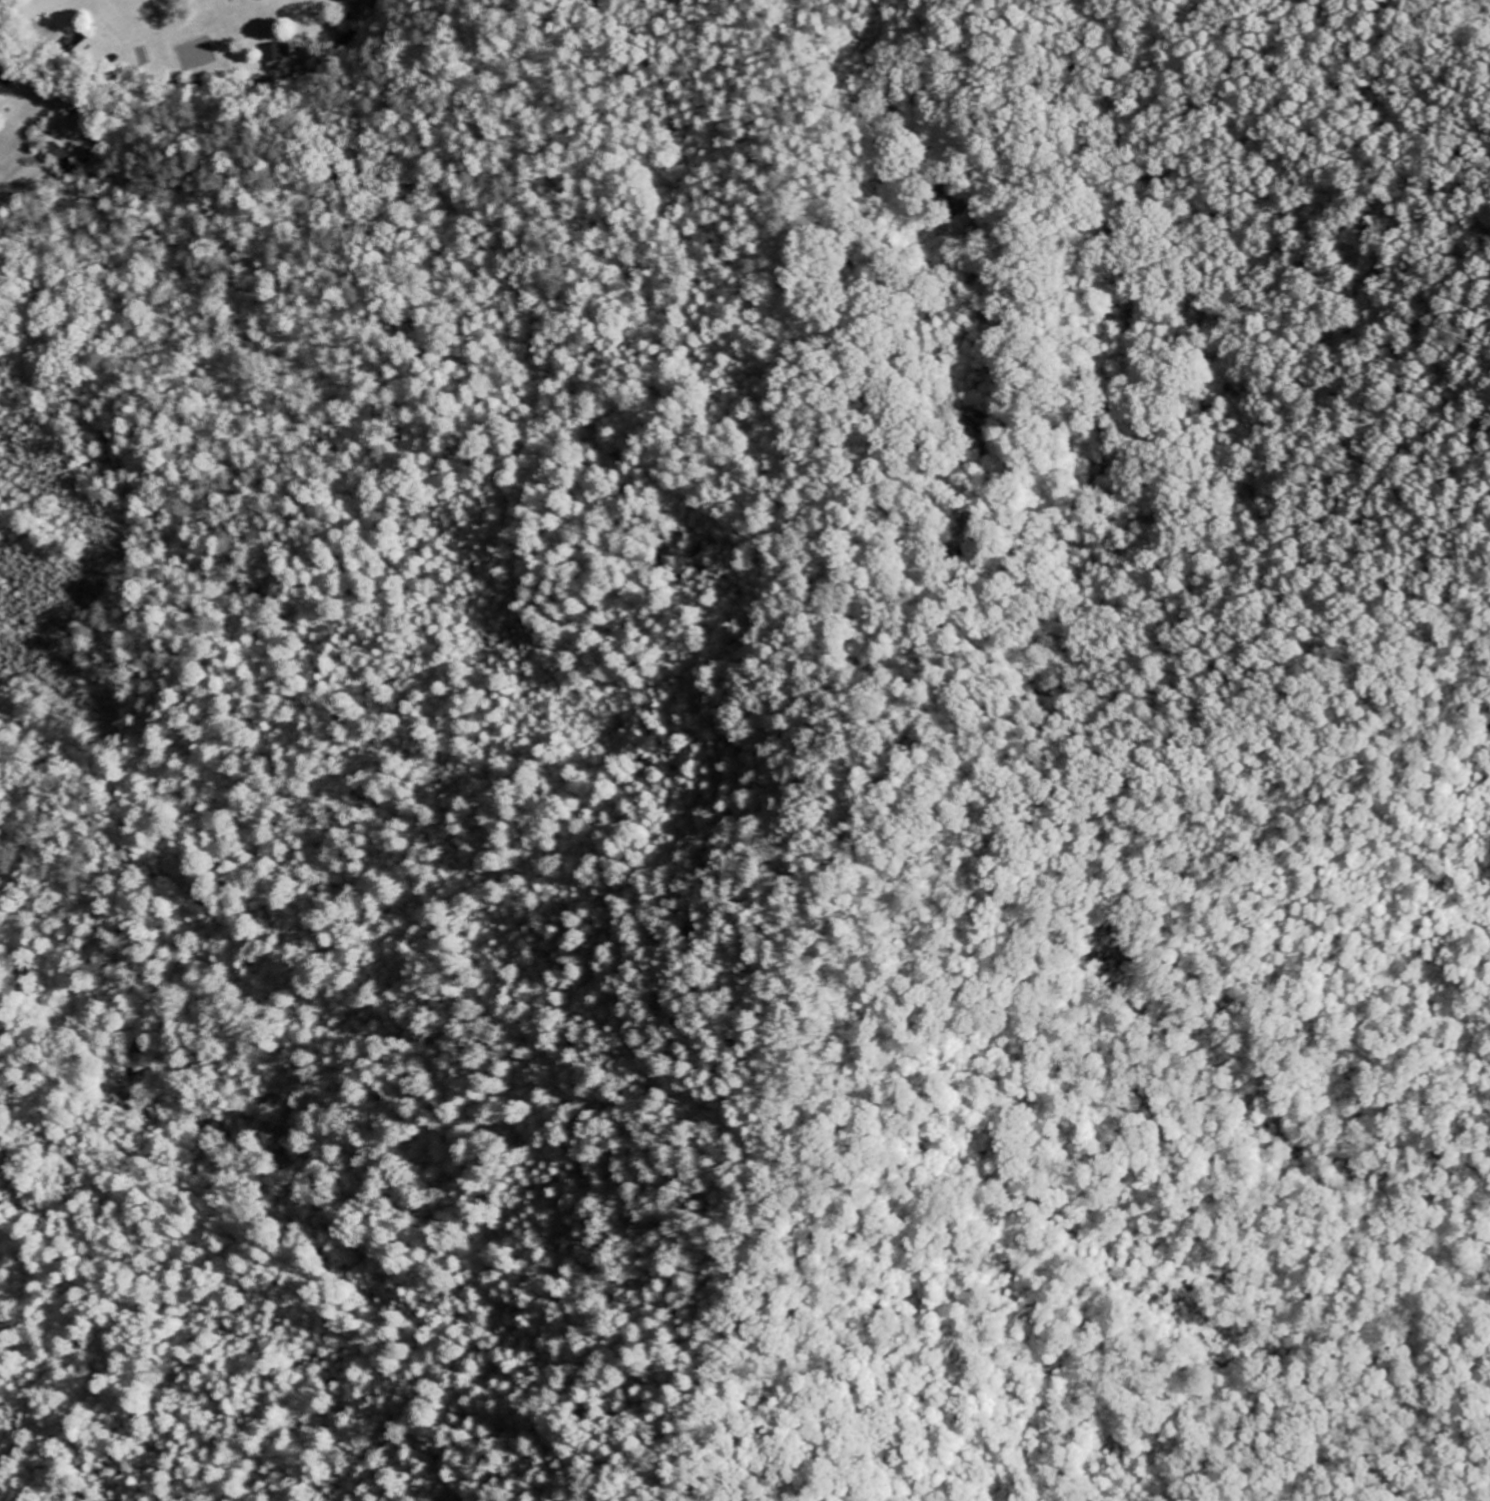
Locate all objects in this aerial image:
building: (281, 58)
road: (960, 912)

